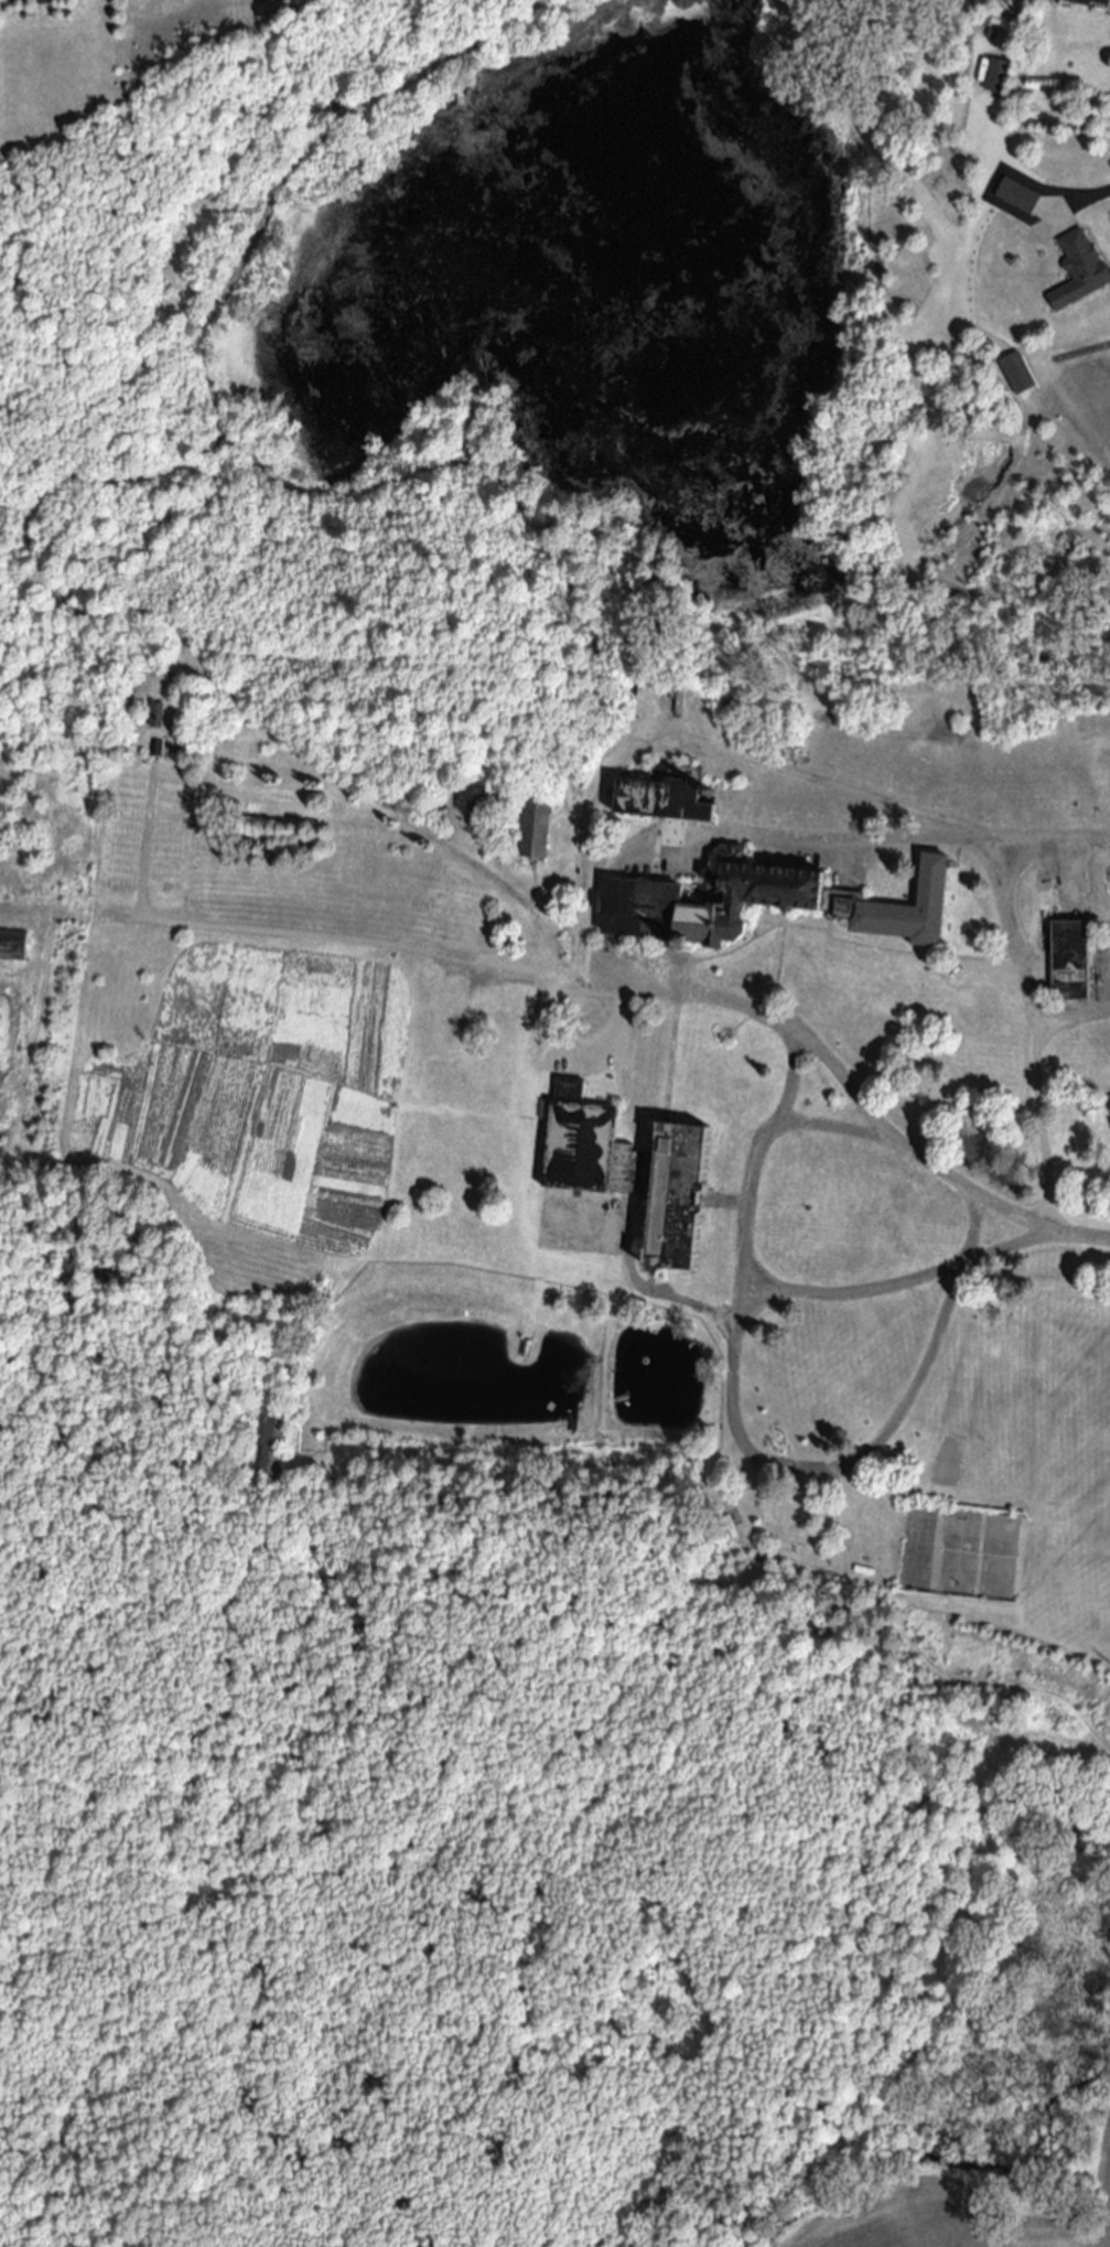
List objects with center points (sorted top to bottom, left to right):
building: (983, 0)
building: (1085, 2)
building: (993, 77)
building: (994, 186)
building: (1015, 197)
road: (1091, 198)
building: (1077, 271)
building: (1013, 375)
building: (150, 718)
road: (694, 753)
building: (471, 802)
building: (659, 802)
building: (535, 834)
road: (845, 840)
building: (770, 889)
building: (637, 915)
building: (906, 917)
building: (10, 946)
building: (1070, 965)
road: (1016, 968)
road: (560, 971)
road: (1041, 1126)
road: (834, 1129)
building: (581, 1151)
building: (672, 1200)
road: (1080, 1236)
road: (898, 1279)
road: (739, 1441)

